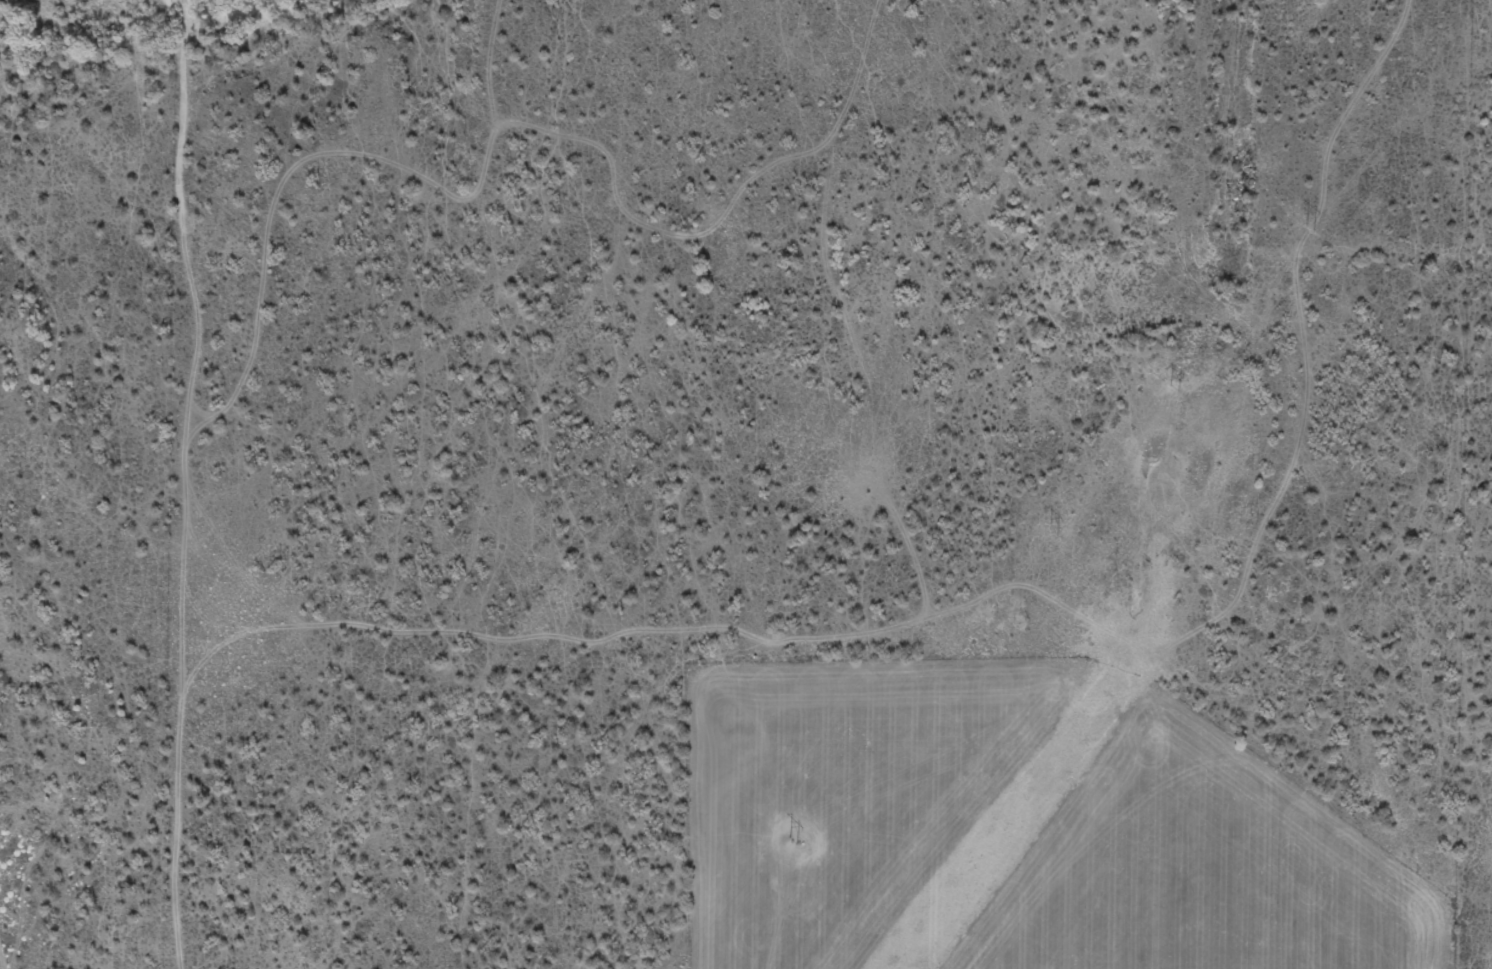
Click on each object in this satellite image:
power tower: (1311, 230)
power tower: (1176, 390)
road: (1335, 455)
power tower: (1054, 534)
power tower: (793, 841)

